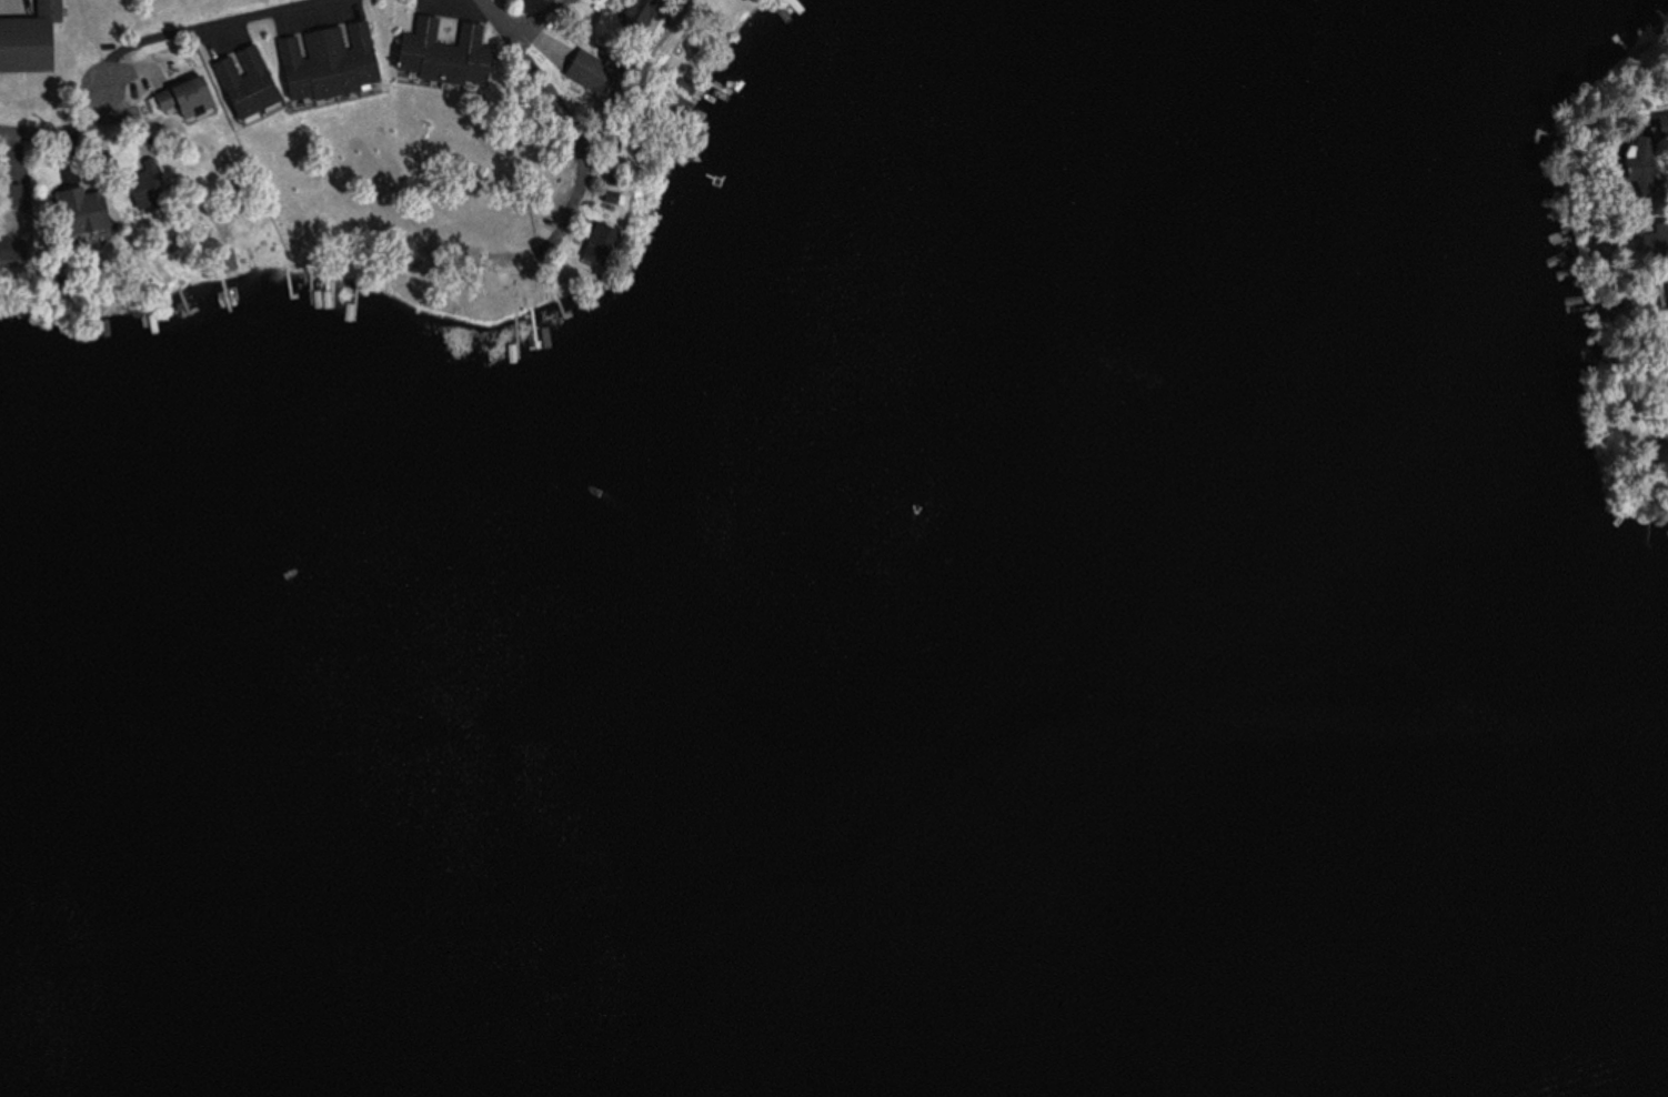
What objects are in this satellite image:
road: (490, 4)
building: (634, 14)
road: (527, 19)
building: (22, 36)
road: (150, 41)
building: (434, 51)
building: (320, 60)
building: (239, 80)
building: (175, 102)
road: (564, 117)
building: (1645, 181)
building: (71, 210)
building: (1652, 240)
building: (224, 260)
building: (1665, 293)
building: (1667, 336)

